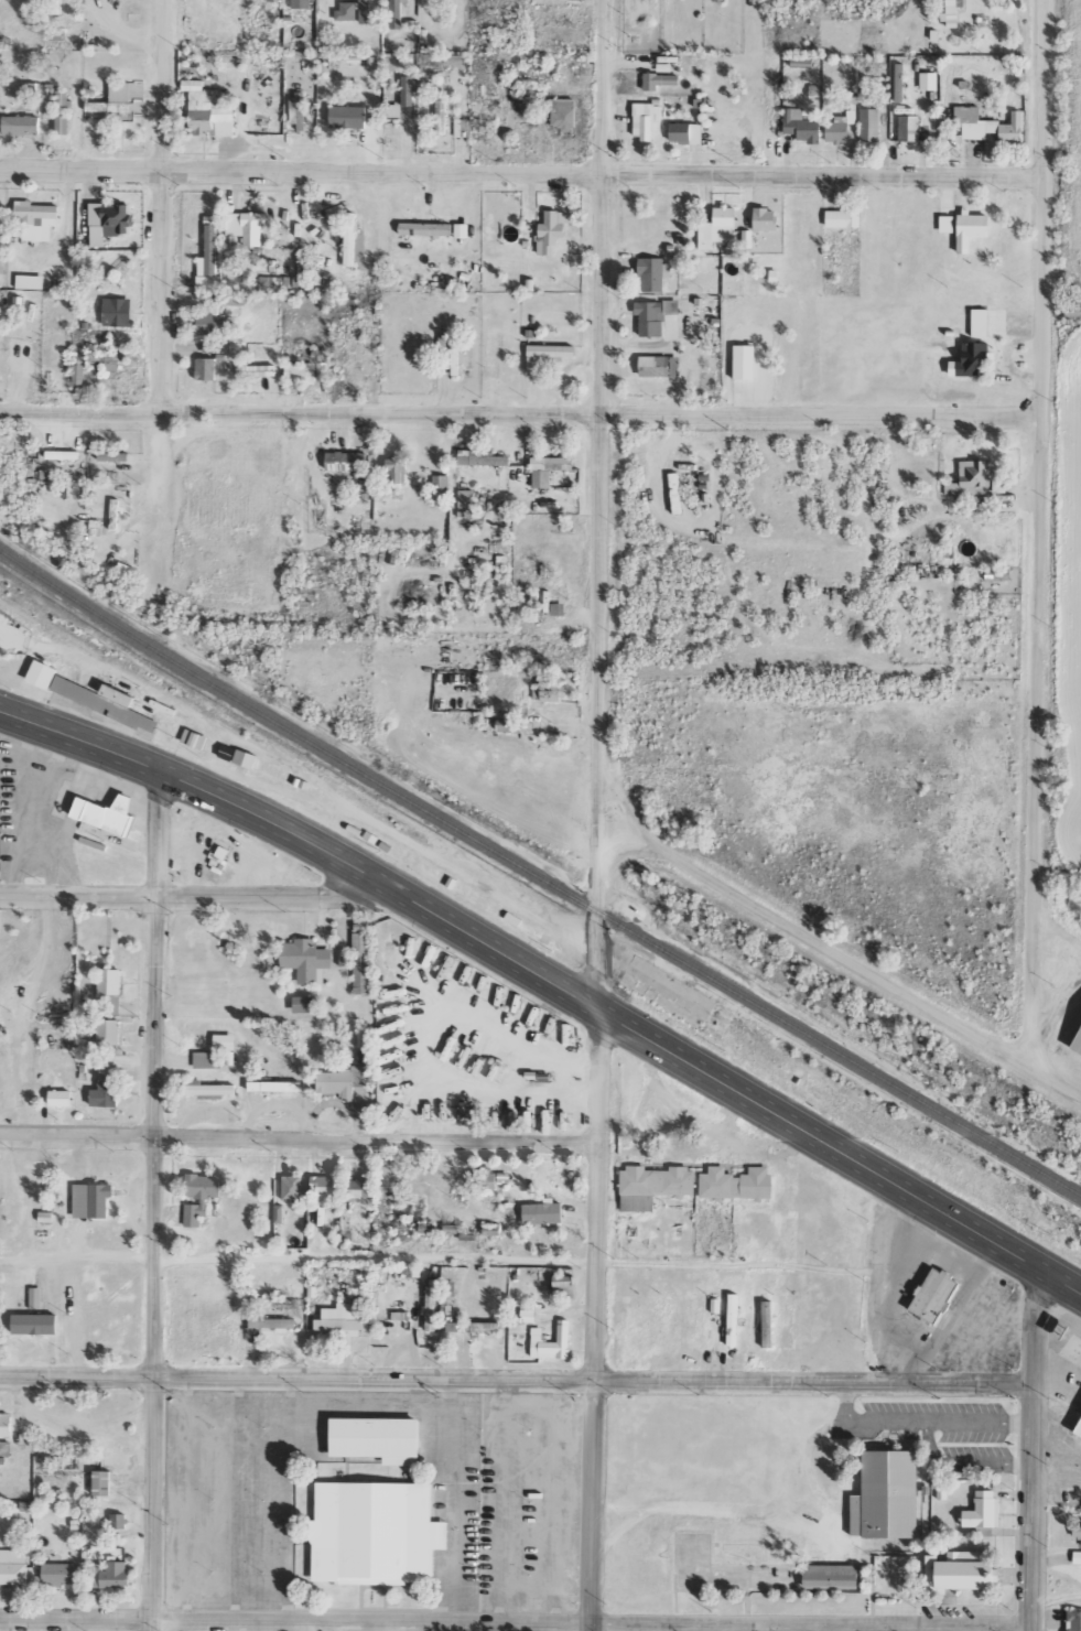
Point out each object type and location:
building: (718, 0)
building: (56, 7)
building: (347, 10)
building: (365, 11)
building: (952, 12)
building: (396, 13)
building: (455, 58)
building: (663, 66)
building: (659, 79)
building: (929, 80)
building: (899, 82)
building: (112, 102)
building: (207, 110)
building: (298, 110)
building: (62, 111)
building: (441, 115)
building: (563, 115)
building: (348, 116)
building: (646, 120)
building: (20, 125)
building: (801, 125)
building: (869, 125)
building: (988, 125)
building: (463, 127)
building: (840, 127)
building: (908, 127)
building: (685, 132)
road: (525, 171)
building: (843, 217)
building: (765, 218)
building: (35, 219)
building: (108, 220)
building: (246, 226)
building: (718, 227)
building: (425, 228)
building: (971, 228)
road: (163, 229)
building: (550, 231)
building: (349, 238)
building: (208, 263)
building: (652, 273)
building: (30, 281)
building: (235, 299)
building: (1072, 310)
building: (117, 311)
building: (655, 315)
building: (988, 322)
building: (209, 323)
building: (215, 347)
building: (547, 354)
building: (108, 359)
building: (972, 359)
building: (744, 361)
building: (205, 368)
building: (78, 372)
building: (300, 372)
road: (523, 412)
building: (113, 455)
building: (482, 457)
building: (346, 461)
building: (397, 468)
building: (548, 468)
building: (970, 477)
building: (440, 483)
building: (674, 492)
building: (465, 498)
road: (1046, 531)
building: (501, 565)
building: (997, 573)
building: (486, 584)
building: (558, 608)
building: (43, 673)
building: (552, 691)
building: (118, 694)
building: (104, 704)
building: (509, 725)
building: (245, 758)
building: (106, 813)
road: (601, 814)
building: (217, 857)
railway: (538, 875)
road: (202, 893)
building: (360, 943)
road: (844, 954)
building: (306, 960)
road: (527, 965)
building: (364, 980)
building: (109, 992)
road: (1057, 1003)
building: (305, 1004)
building: (108, 1035)
building: (225, 1041)
building: (1080, 1046)
building: (207, 1059)
building: (340, 1081)
building: (106, 1087)
building: (209, 1090)
building: (60, 1099)
road: (299, 1136)
building: (486, 1180)
building: (736, 1184)
building: (326, 1186)
building: (653, 1186)
building: (292, 1187)
building: (360, 1187)
building: (202, 1195)
road: (159, 1199)
building: (91, 1200)
building: (542, 1213)
building: (451, 1228)
building: (491, 1229)
road: (431, 1263)
road: (1059, 1273)
building: (563, 1286)
building: (450, 1288)
building: (936, 1294)
building: (35, 1297)
building: (430, 1308)
building: (344, 1319)
building: (733, 1319)
building: (34, 1324)
building: (767, 1324)
building: (268, 1326)
building: (552, 1342)
road: (517, 1379)
building: (6, 1424)
building: (1080, 1434)
building: (380, 1438)
road: (1035, 1445)
building: (4, 1447)
building: (101, 1482)
building: (890, 1494)
building: (982, 1513)
building: (118, 1520)
building: (1077, 1531)
building: (379, 1532)
building: (1077, 1556)
building: (13, 1564)
building: (755, 1569)
building: (971, 1570)
building: (61, 1574)
building: (110, 1575)
building: (1074, 1620)
road: (517, 1624)
road: (695, 1628)
road: (917, 1628)
road: (818, 1629)

